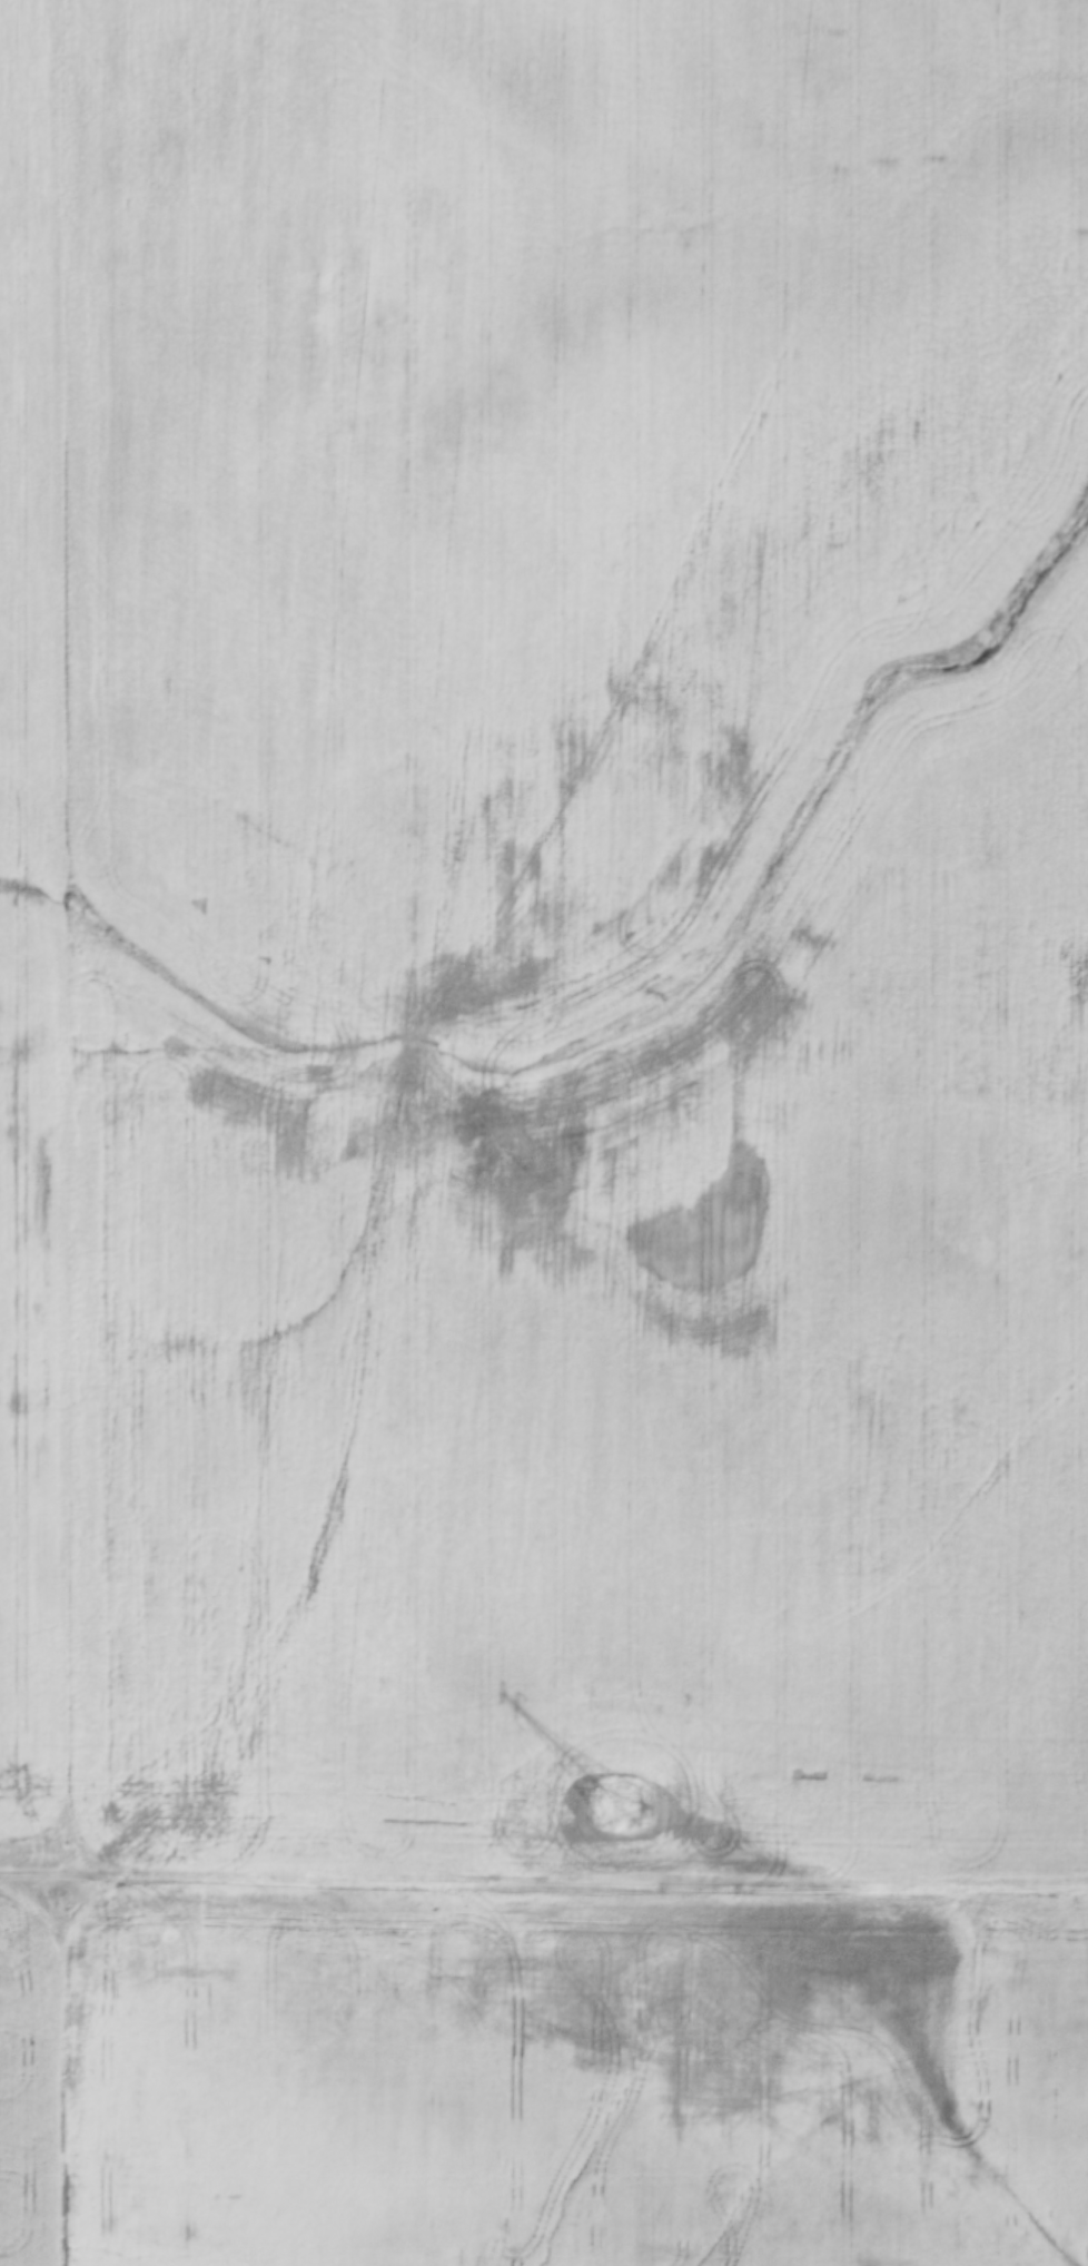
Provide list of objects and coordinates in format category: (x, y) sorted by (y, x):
power tower: (619, 1809)
road: (543, 1874)

